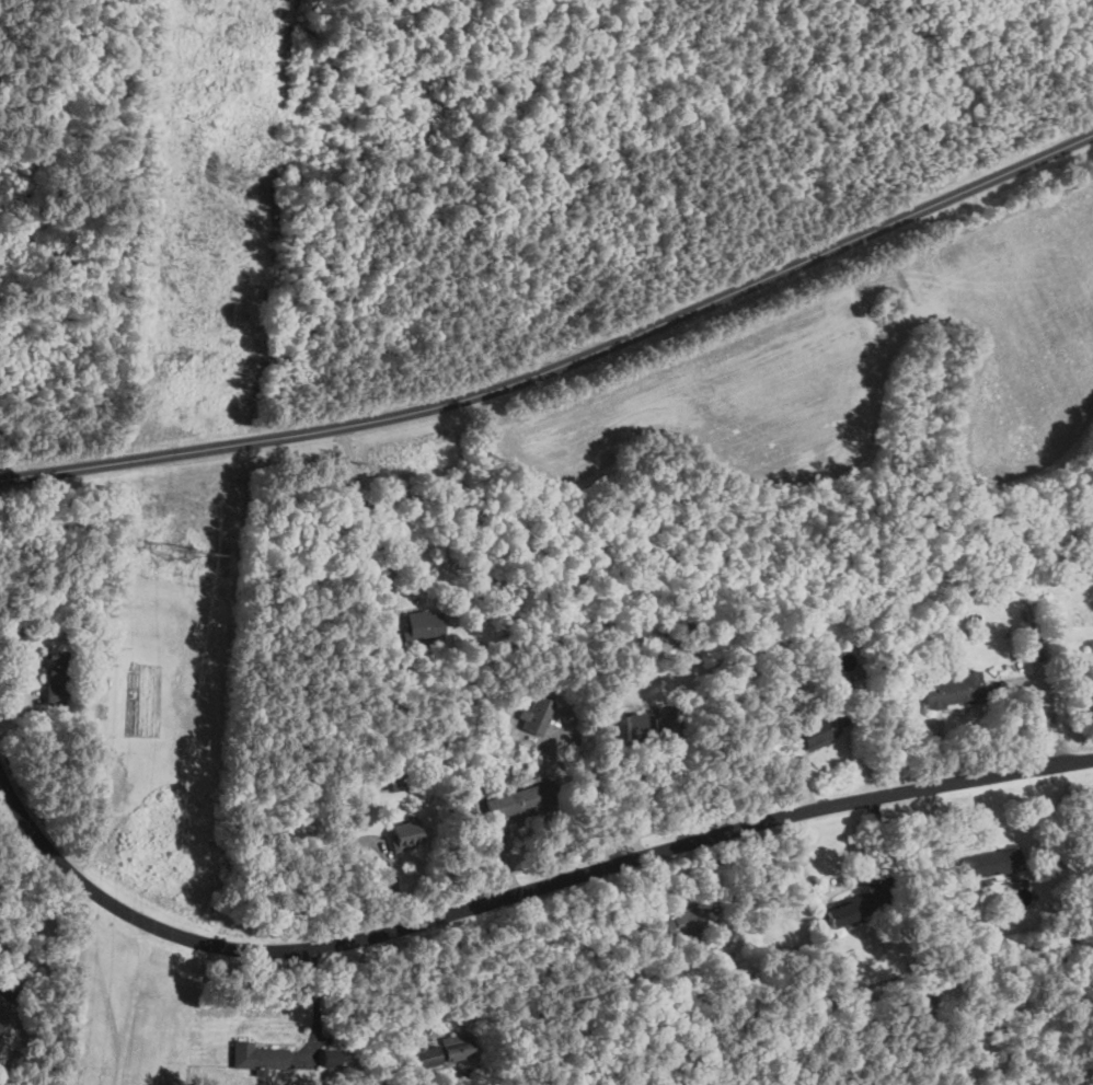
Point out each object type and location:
road: (562, 360)
road: (372, 516)
power tower: (181, 552)
building: (424, 624)
building: (56, 677)
building: (955, 690)
building: (548, 693)
building: (537, 713)
building: (636, 727)
building: (667, 727)
building: (820, 731)
building: (514, 801)
road: (634, 808)
building: (407, 831)
building: (992, 863)
road: (513, 898)
road: (64, 903)
building: (850, 910)
building: (681, 923)
road: (21, 925)
road: (23, 957)
road: (318, 1008)
building: (1, 1024)
building: (449, 1049)
building: (258, 1057)
building: (330, 1057)

